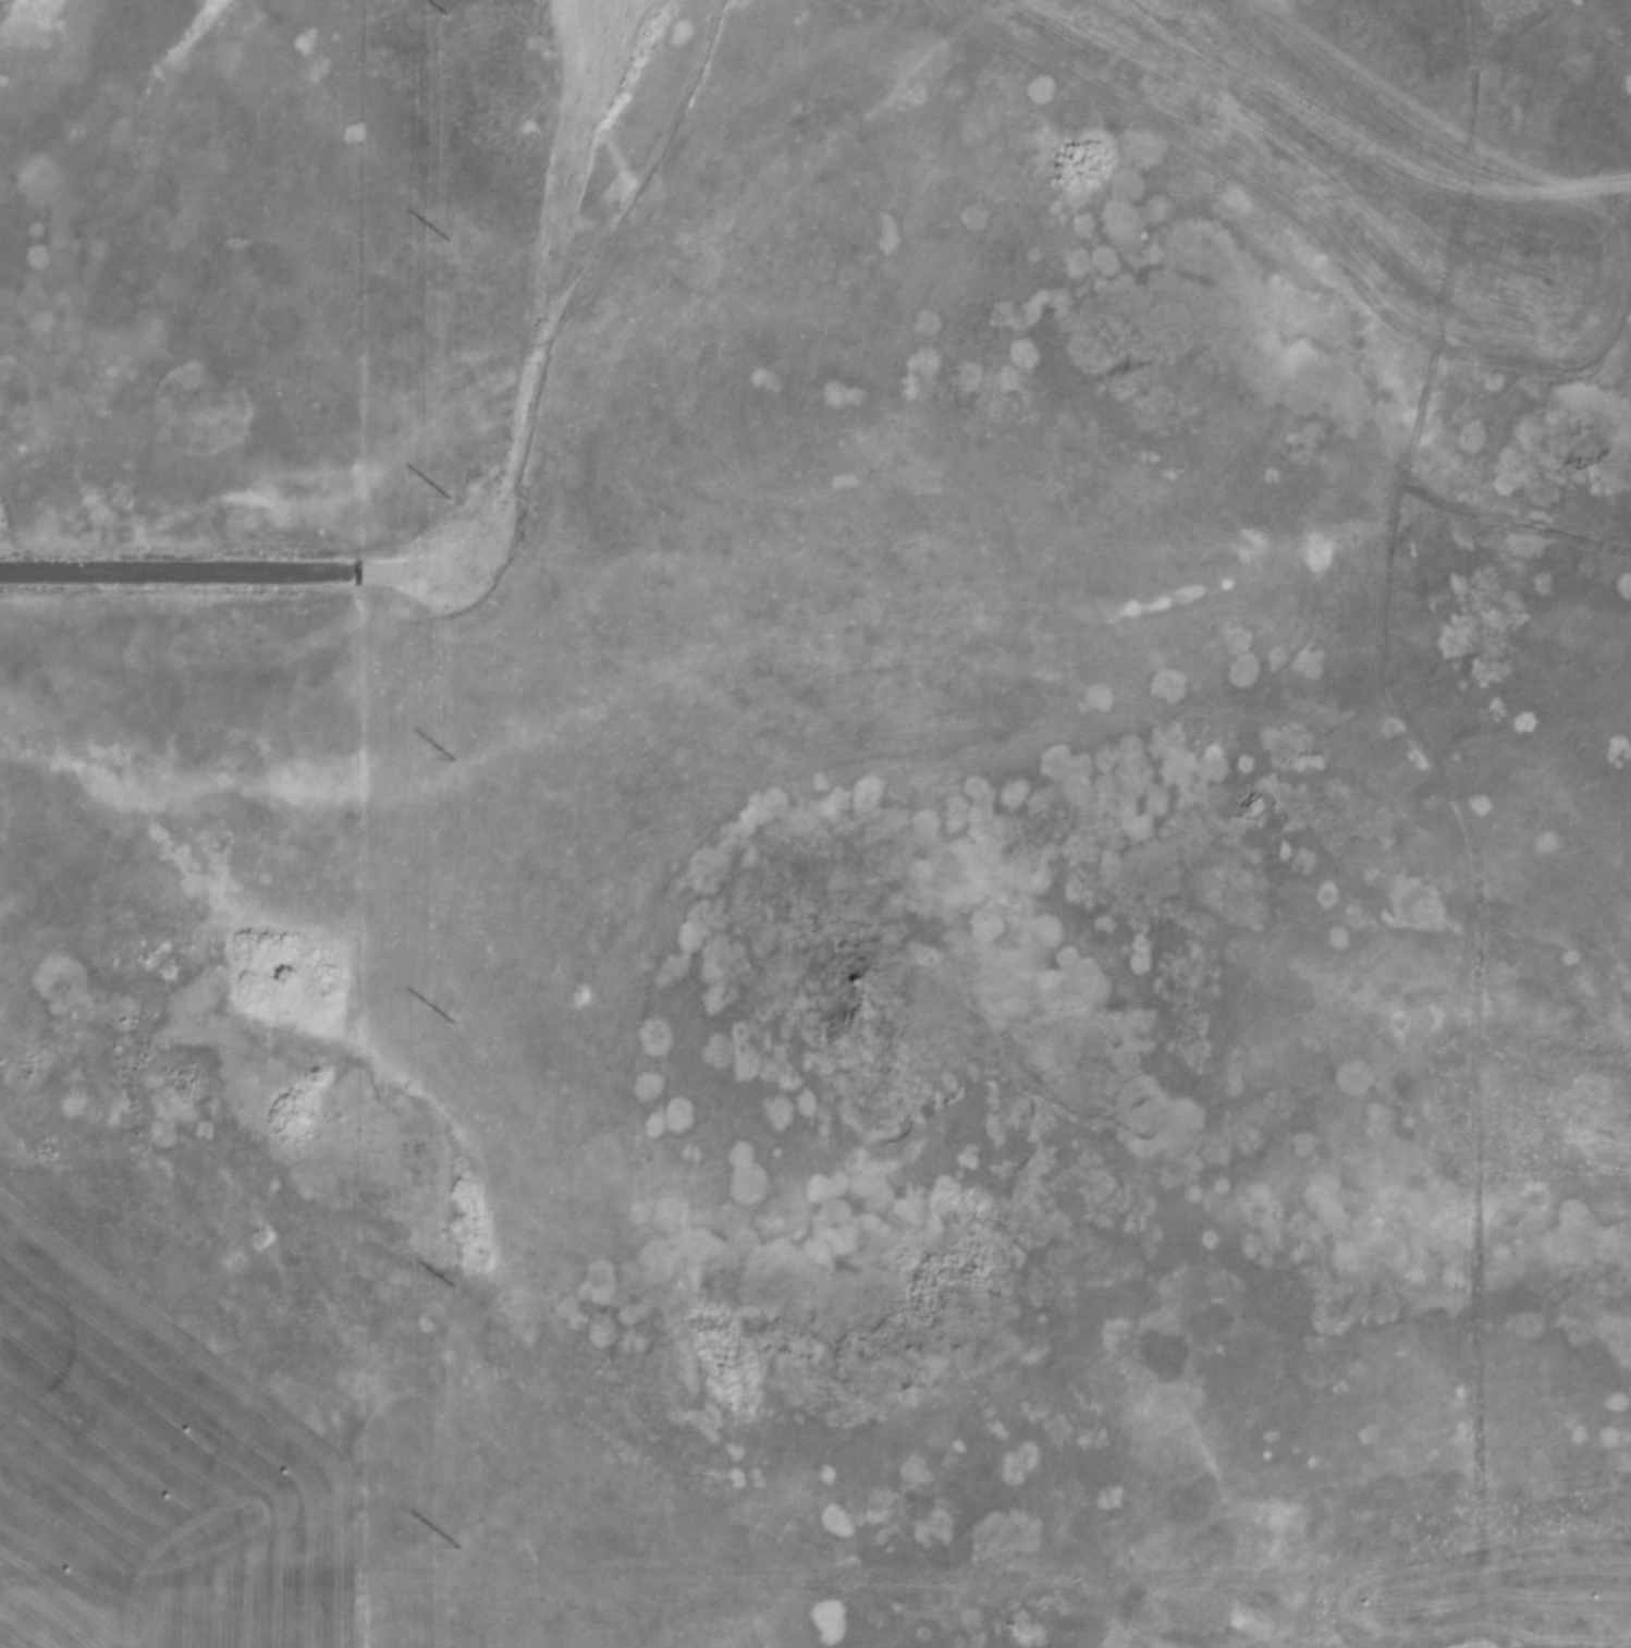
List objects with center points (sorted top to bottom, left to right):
road: (1445, 111)

